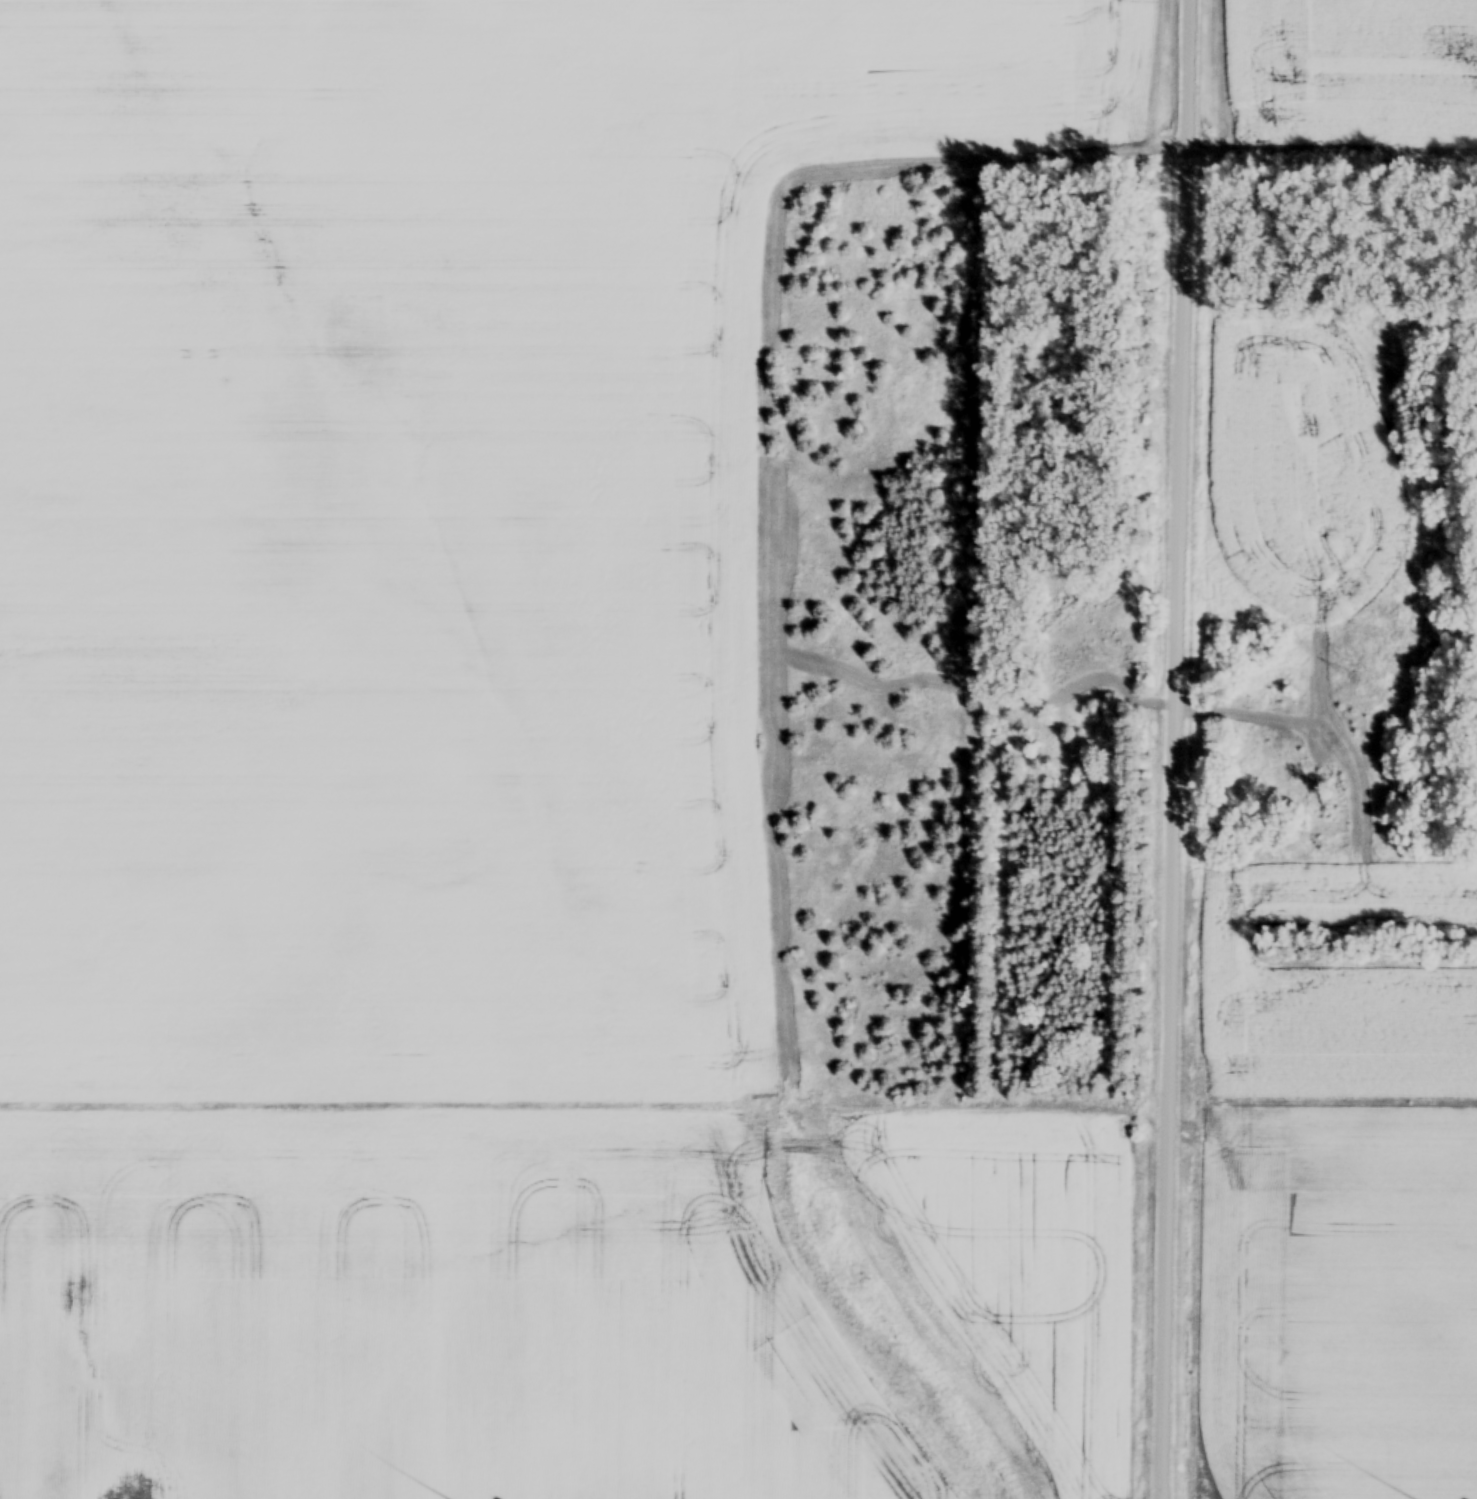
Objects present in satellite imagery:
road: (1177, 749)

